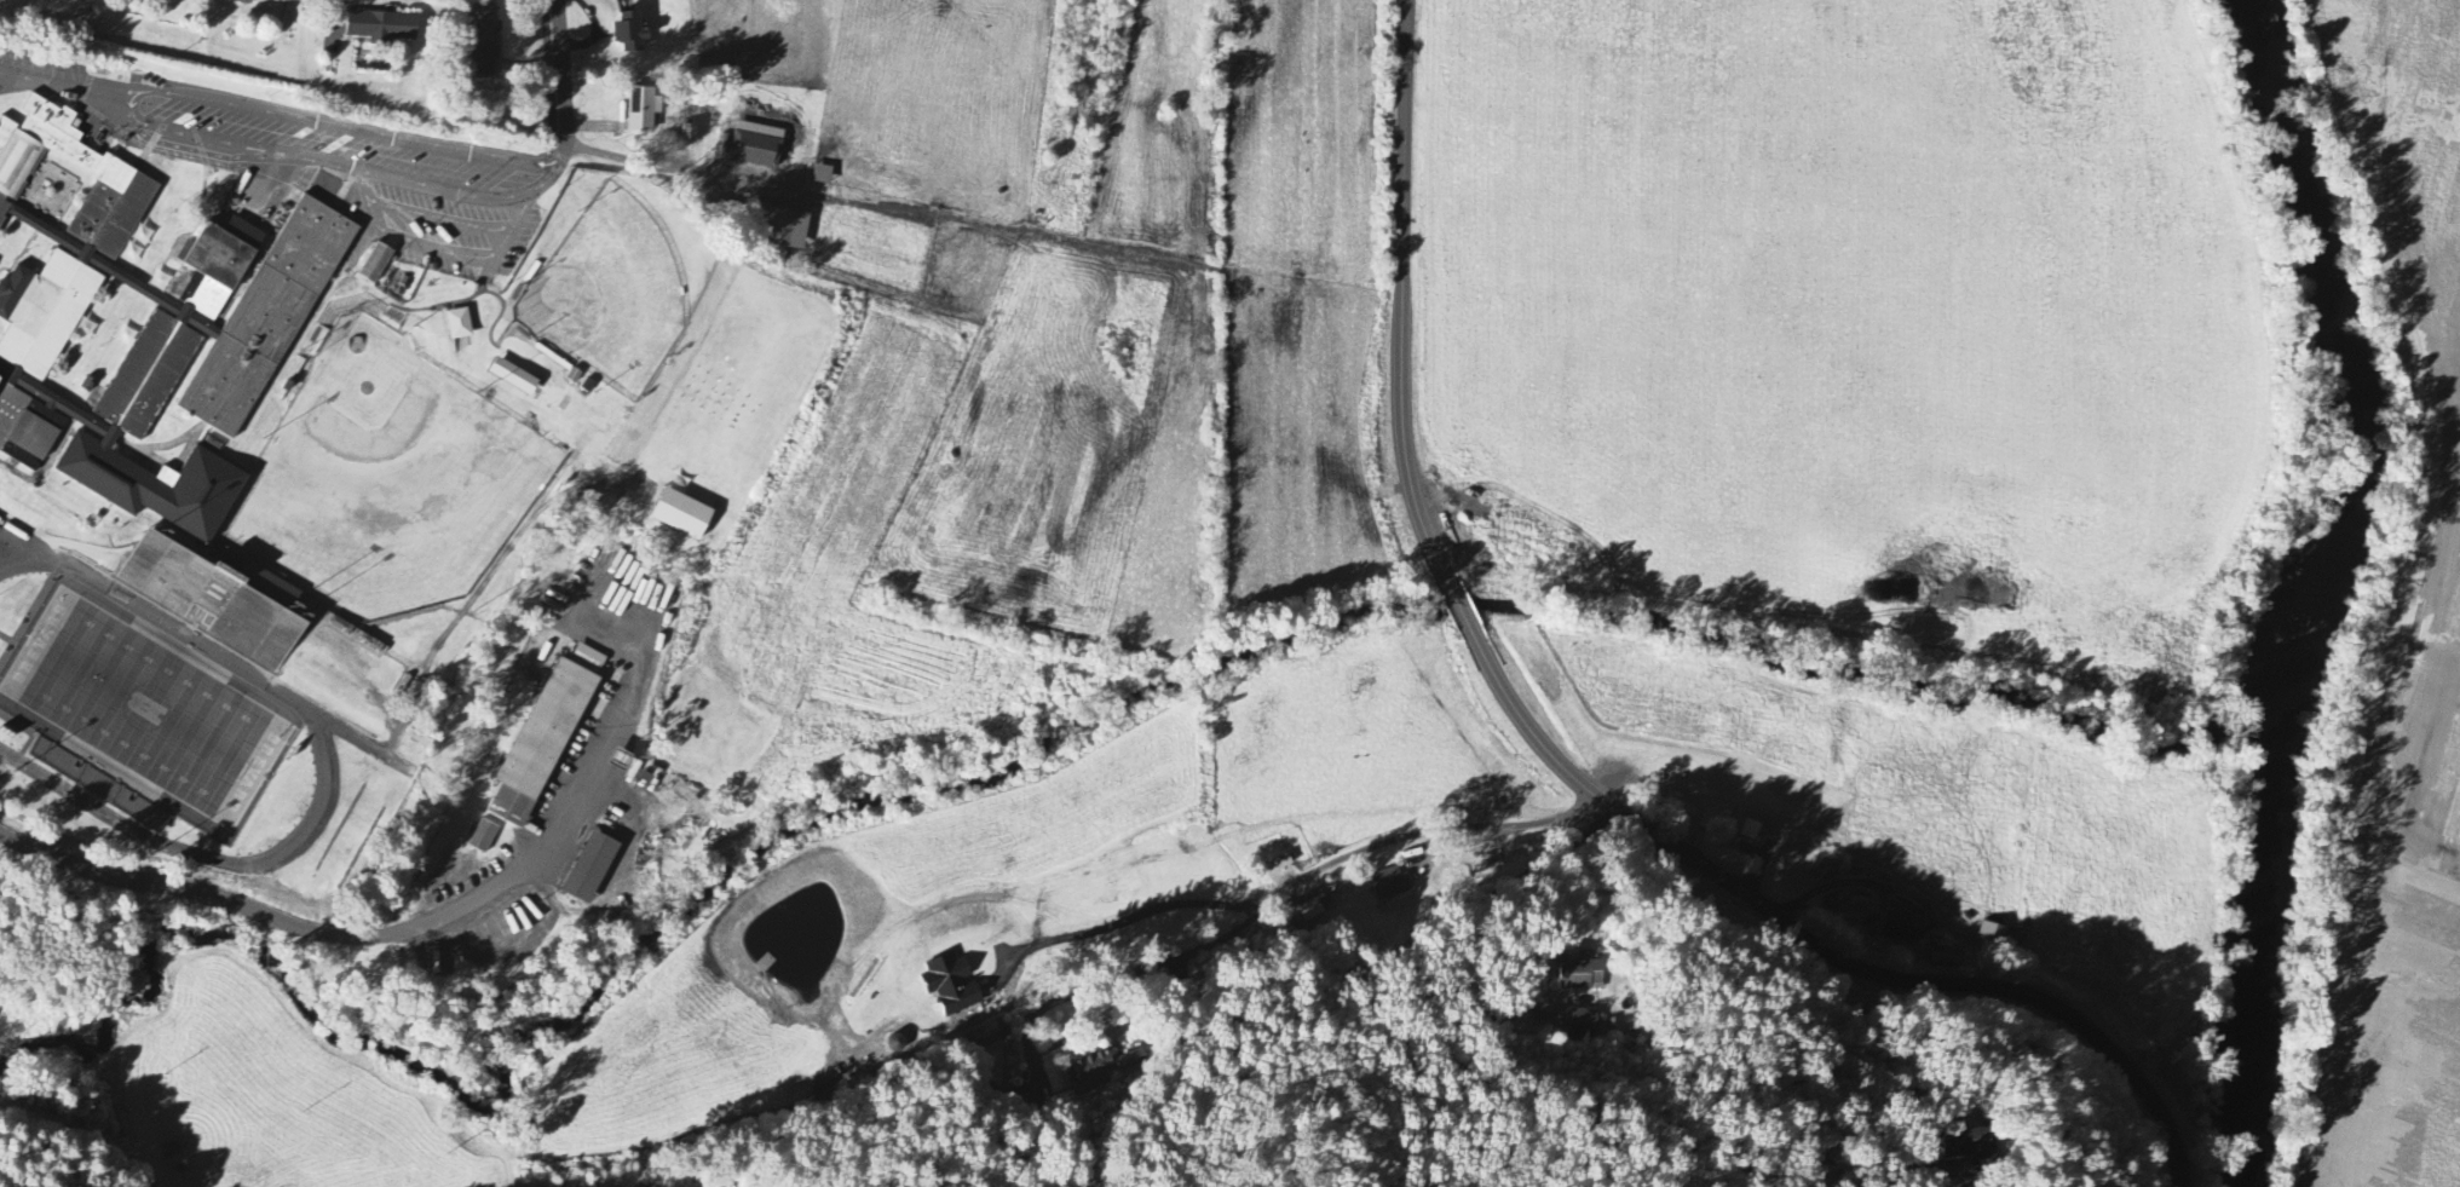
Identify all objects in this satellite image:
building: (280, 0)
building: (243, 2)
building: (381, 27)
building: (629, 34)
building: (483, 40)
road: (56, 79)
road: (560, 88)
building: (641, 110)
building: (689, 136)
building: (756, 146)
building: (822, 175)
road: (537, 180)
building: (782, 229)
building: (375, 265)
park: (609, 293)
building: (266, 318)
river: (2352, 371)
building: (513, 378)
park: (387, 479)
building: (680, 515)
building: (211, 604)
park: (146, 708)
track: (150, 722)
building: (419, 738)
building: (540, 745)
road: (1556, 760)
building: (98, 788)
building: (1751, 828)
building: (483, 839)
building: (589, 870)
road: (1312, 876)
building: (1390, 885)
building: (1312, 914)
building: (1905, 923)
road: (1120, 924)
building: (1993, 933)
road: (1459, 935)
road: (390, 937)
building: (1947, 958)
river: (2253, 966)
building: (1580, 975)
building: (951, 985)
building: (1584, 1024)
building: (1128, 1061)
building: (1089, 1072)
power tower: (305, 1112)
building: (1969, 1147)

